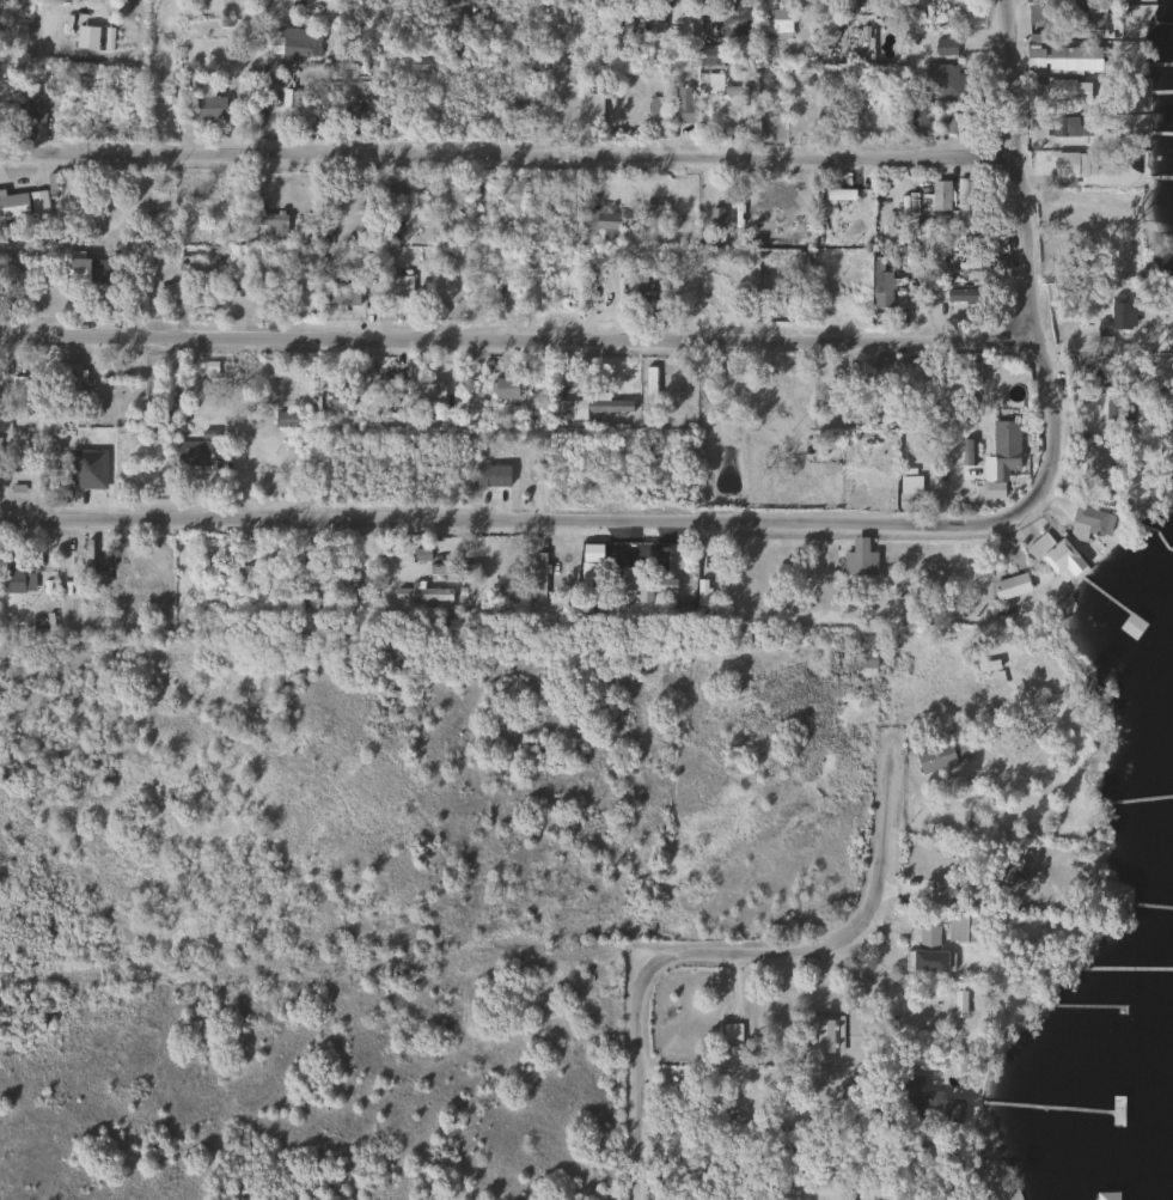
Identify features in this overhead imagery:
building: (733, 20)
building: (831, 20)
building: (572, 22)
building: (595, 23)
building: (652, 23)
building: (777, 24)
building: (1090, 24)
building: (621, 28)
building: (502, 31)
building: (287, 33)
building: (945, 47)
building: (1071, 59)
building: (942, 79)
building: (723, 89)
building: (1069, 90)
building: (684, 104)
building: (203, 105)
building: (655, 105)
building: (39, 106)
building: (792, 108)
building: (825, 108)
building: (597, 109)
building: (931, 118)
building: (1063, 126)
road: (511, 158)
building: (1071, 165)
building: (935, 196)
building: (963, 202)
building: (13, 206)
building: (766, 215)
building: (600, 220)
building: (271, 221)
building: (650, 223)
road: (1027, 266)
building: (86, 269)
building: (805, 278)
building: (183, 281)
building: (534, 281)
building: (881, 281)
building: (396, 285)
building: (337, 293)
building: (1064, 294)
road: (520, 333)
building: (874, 384)
building: (506, 388)
building: (386, 389)
building: (73, 391)
building: (649, 395)
building: (338, 400)
building: (588, 408)
building: (5, 409)
building: (1119, 415)
building: (285, 419)
building: (1142, 443)
building: (1003, 449)
building: (191, 452)
building: (967, 452)
building: (0, 456)
building: (1096, 459)
building: (487, 462)
building: (537, 470)
building: (1093, 488)
road: (529, 523)
building: (1088, 523)
building: (1056, 558)
building: (80, 562)
building: (453, 569)
building: (227, 572)
building: (971, 575)
building: (337, 577)
building: (538, 578)
building: (16, 580)
building: (585, 580)
building: (637, 585)
building: (703, 586)
building: (304, 596)
building: (1131, 627)
building: (861, 660)
building: (988, 666)
building: (941, 756)
building: (1008, 881)
building: (966, 930)
road: (841, 938)
building: (928, 938)
road: (317, 964)
building: (731, 1033)
building: (826, 1036)
road: (747, 1068)
road: (637, 1077)
building: (936, 1107)
building: (861, 1109)
building: (1117, 1110)

